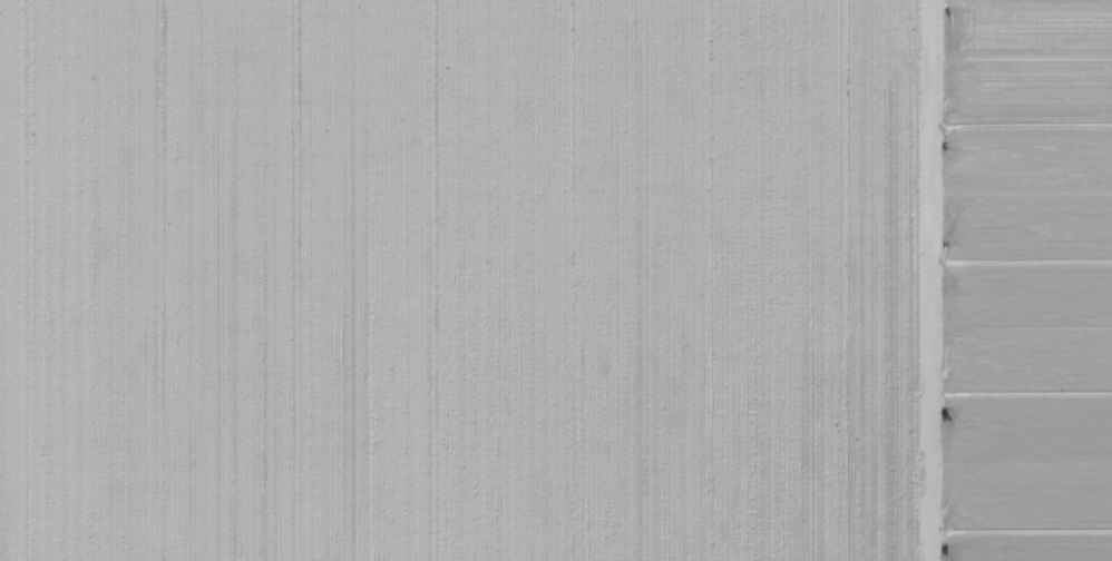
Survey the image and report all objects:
road: (925, 280)

